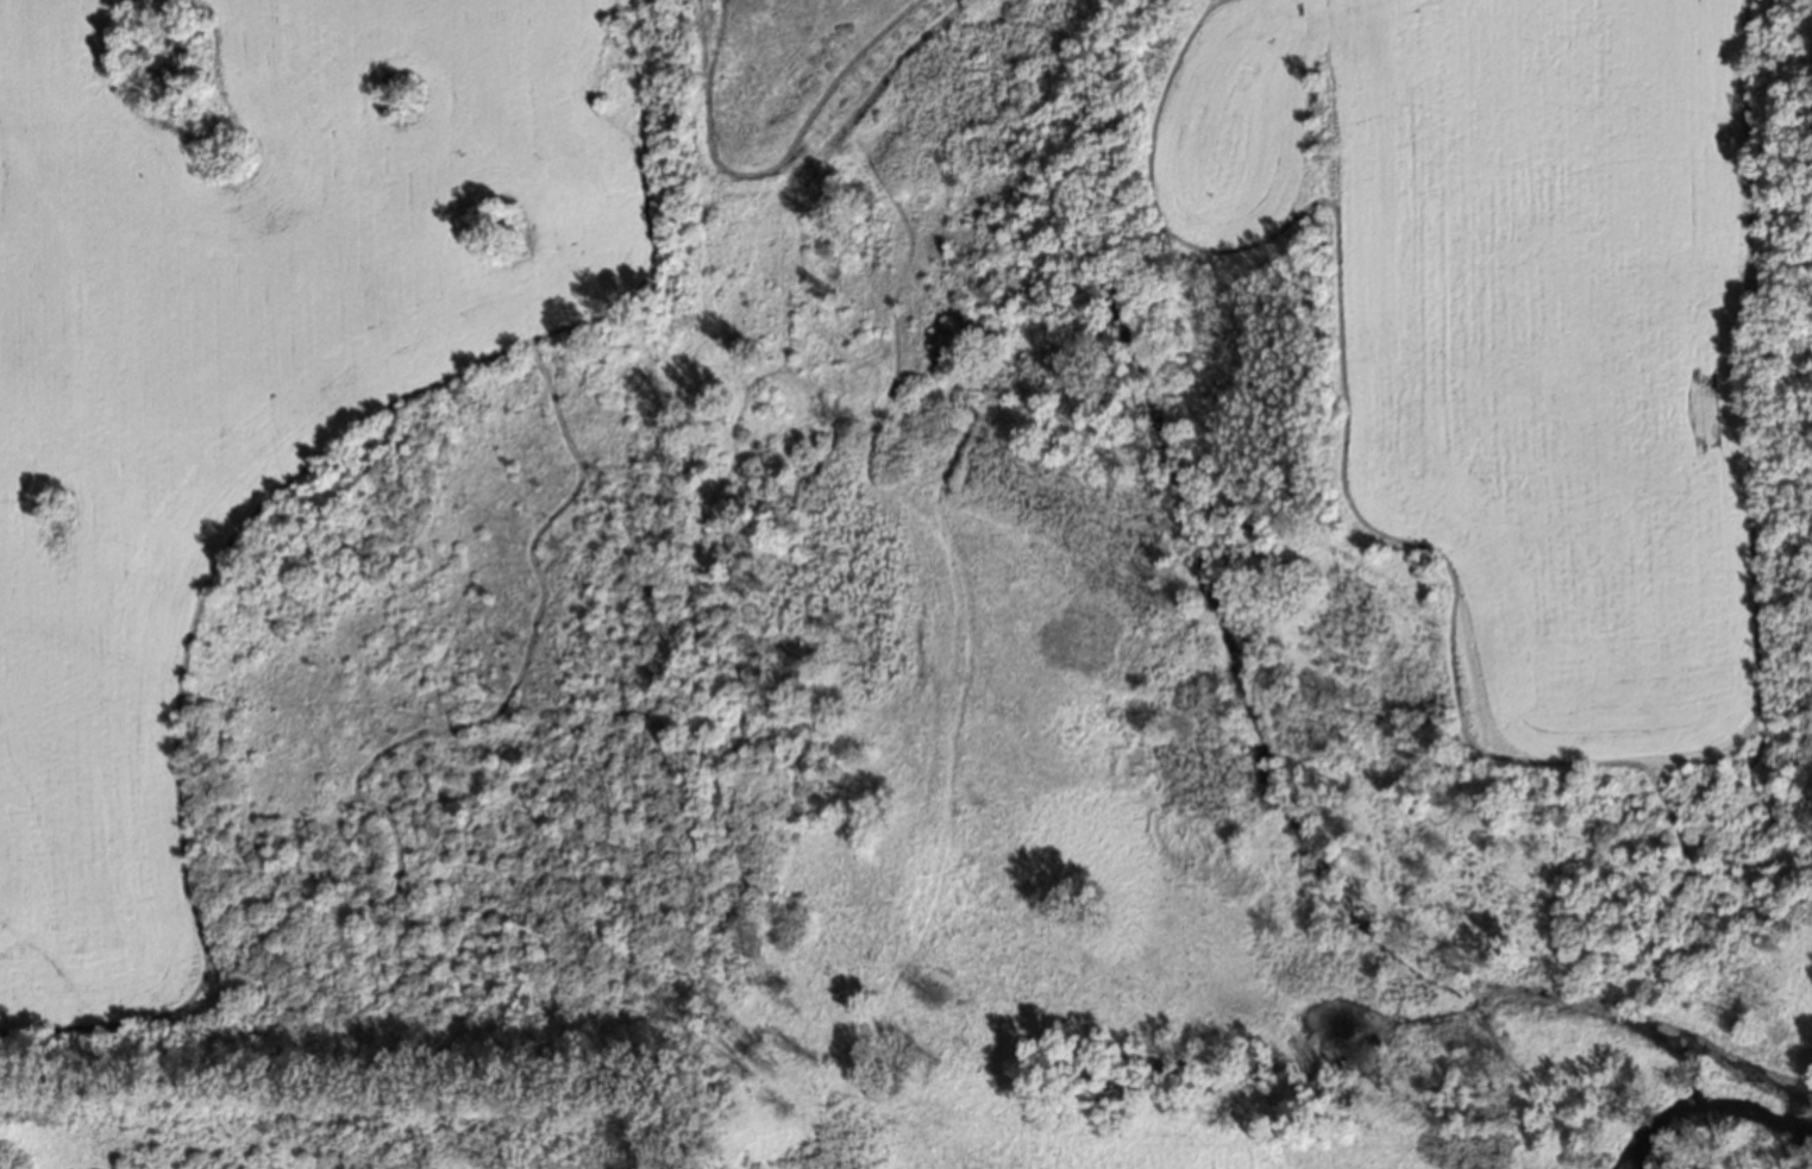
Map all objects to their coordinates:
river: (1807, 1115)
river: (1706, 1120)

